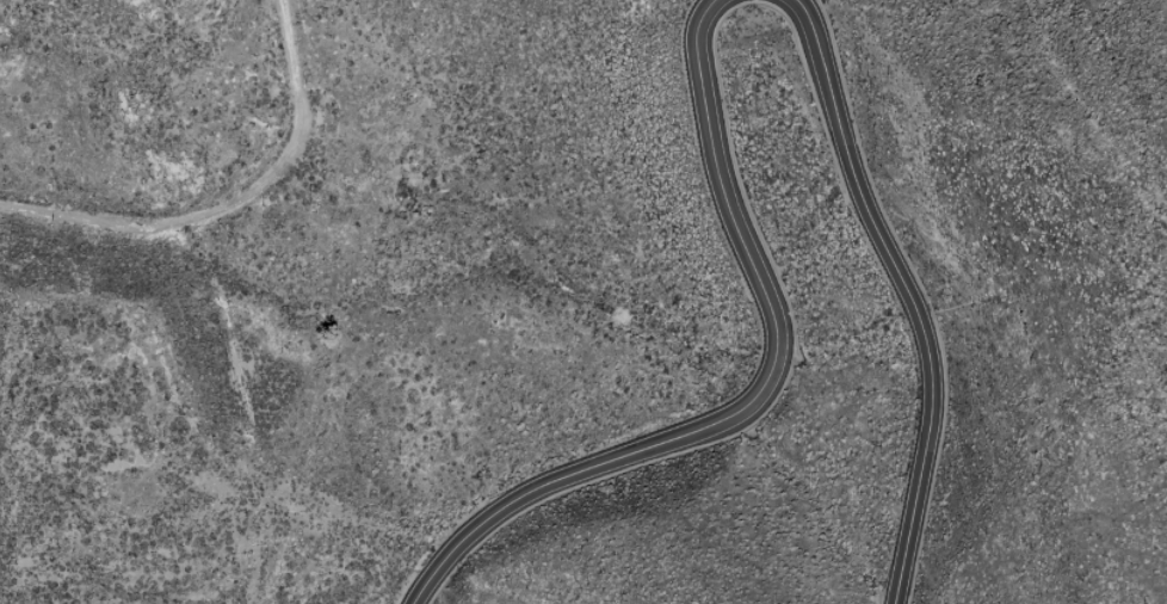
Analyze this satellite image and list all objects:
road: (908, 294)
road: (757, 392)

